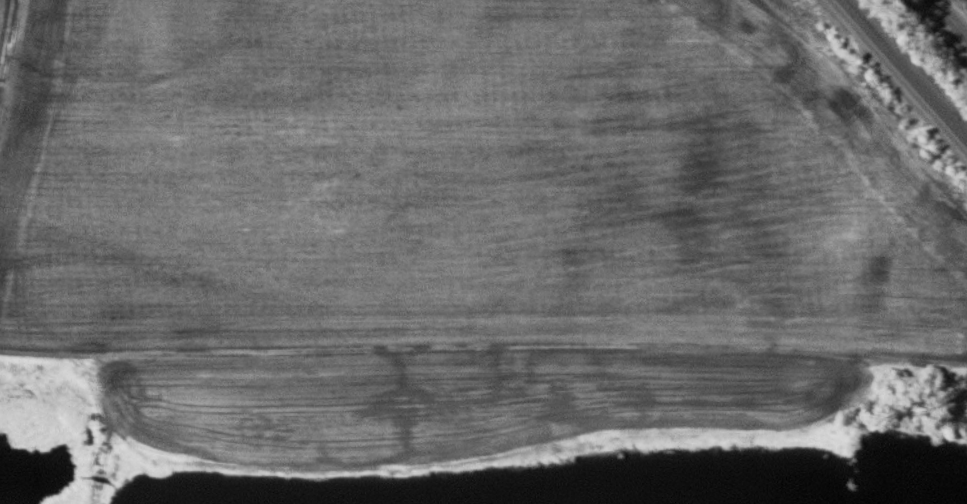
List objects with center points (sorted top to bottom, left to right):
road: (950, 18)
railway: (903, 71)

